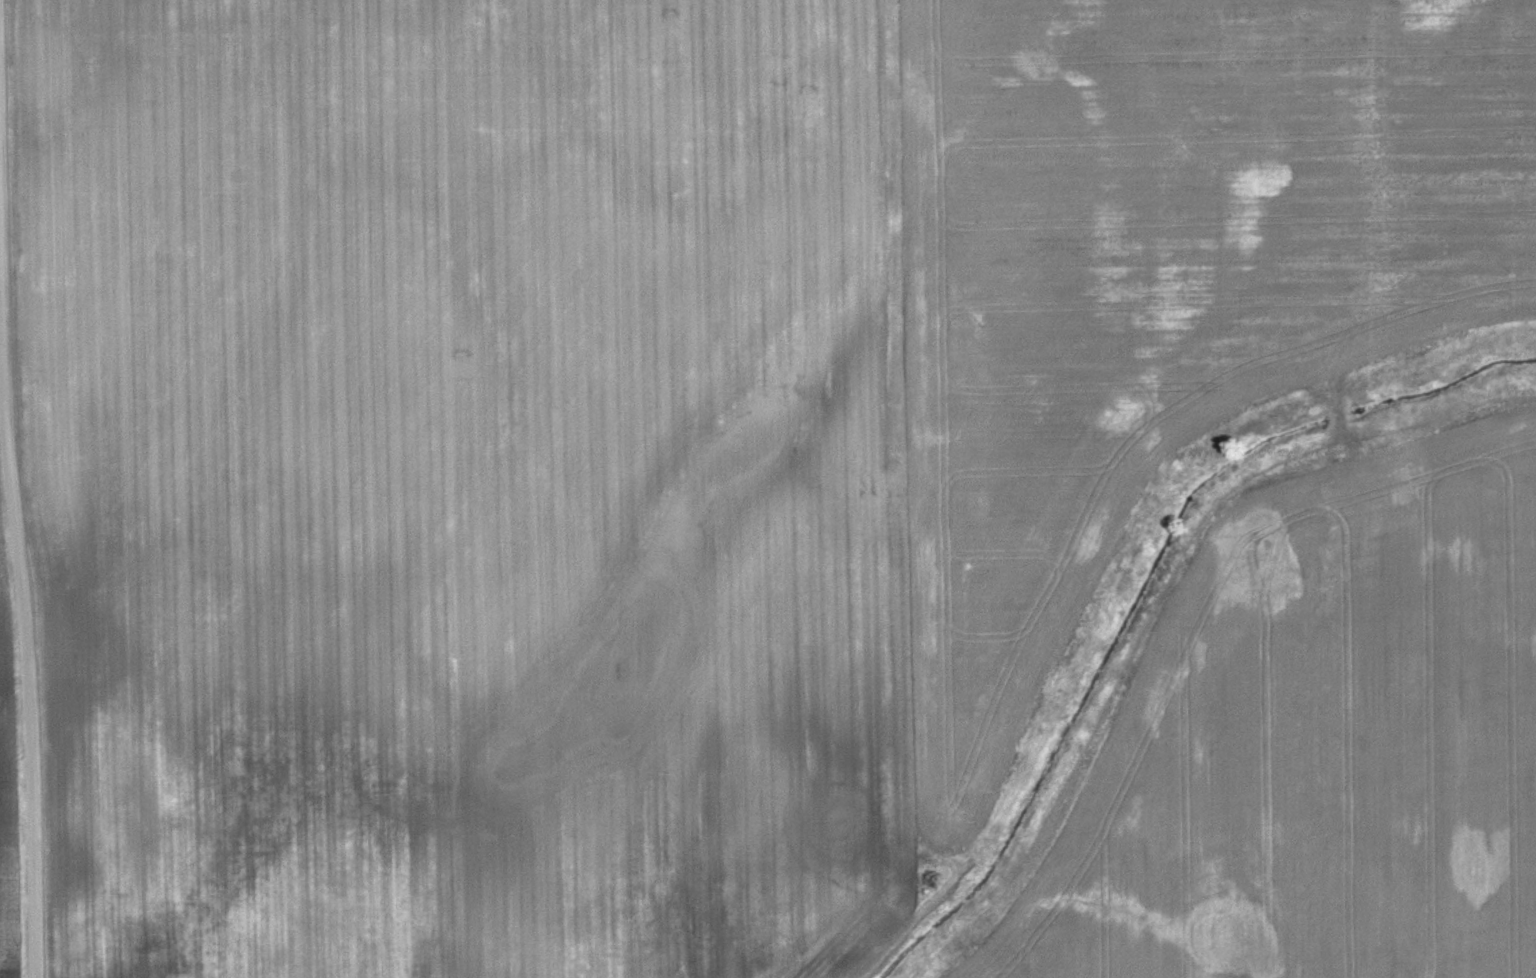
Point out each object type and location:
crop: (658, 429)
road: (12, 489)
crop: (4, 841)

